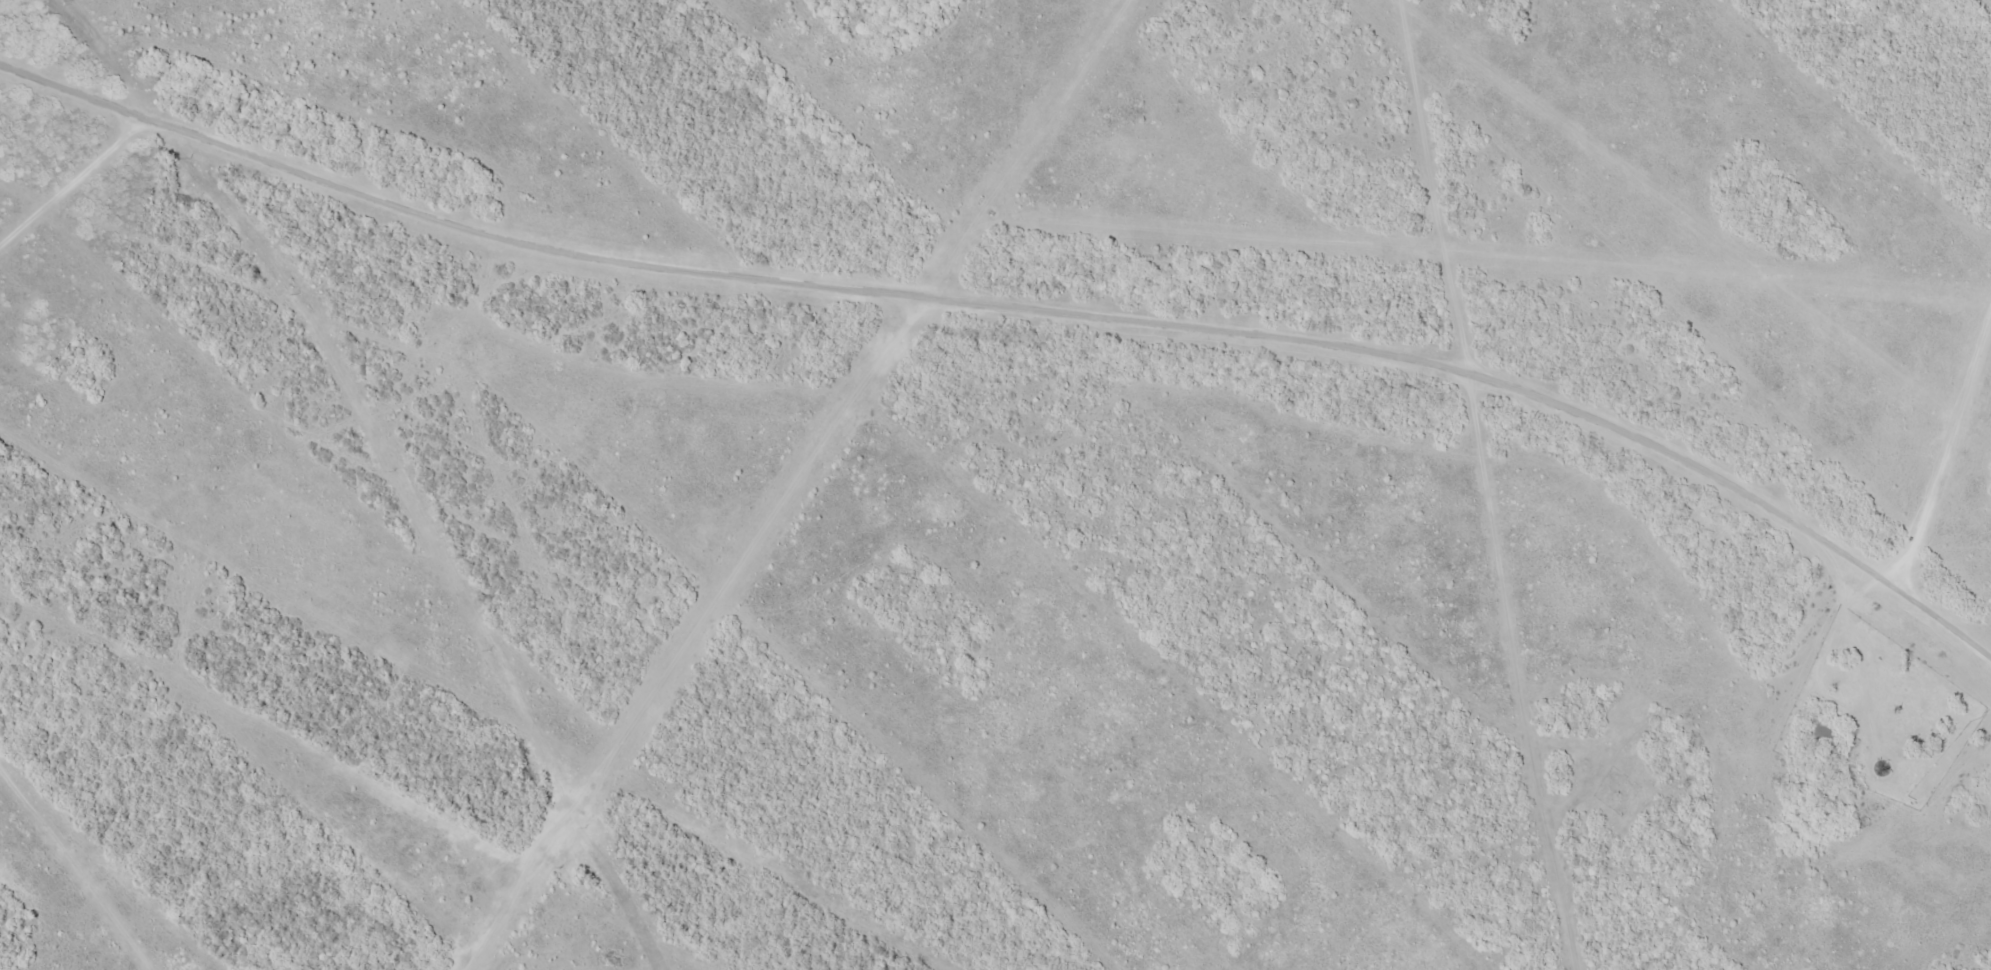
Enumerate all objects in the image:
road: (952, 312)
road: (1913, 523)

